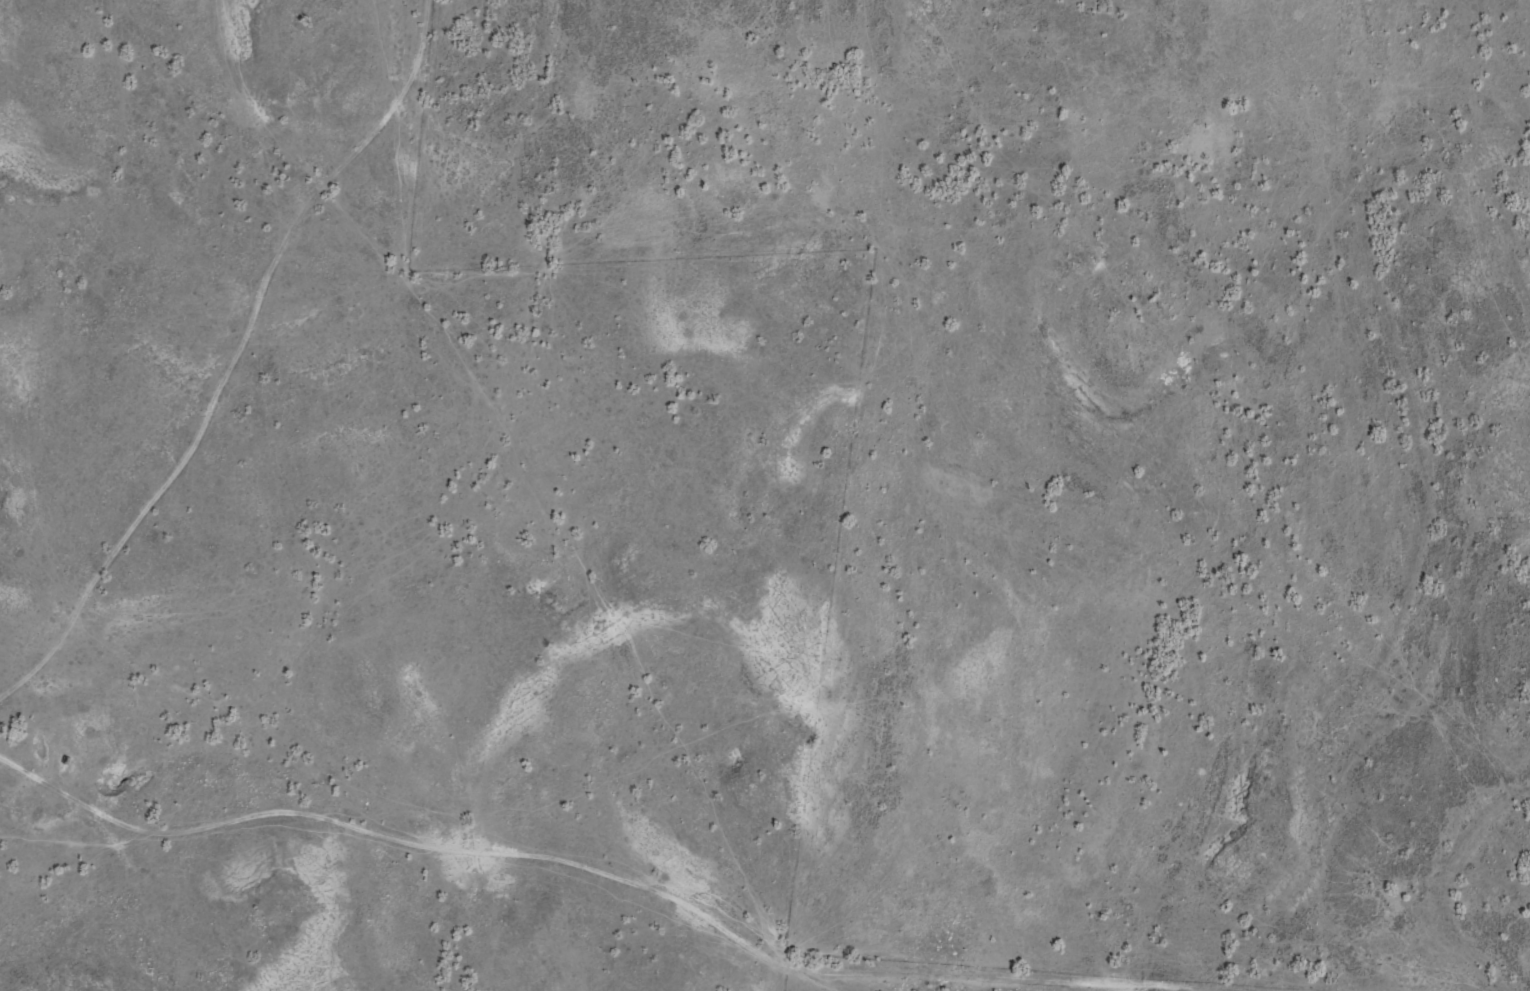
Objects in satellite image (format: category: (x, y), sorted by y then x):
road: (435, 60)
road: (209, 404)
road: (832, 734)
road: (943, 935)

